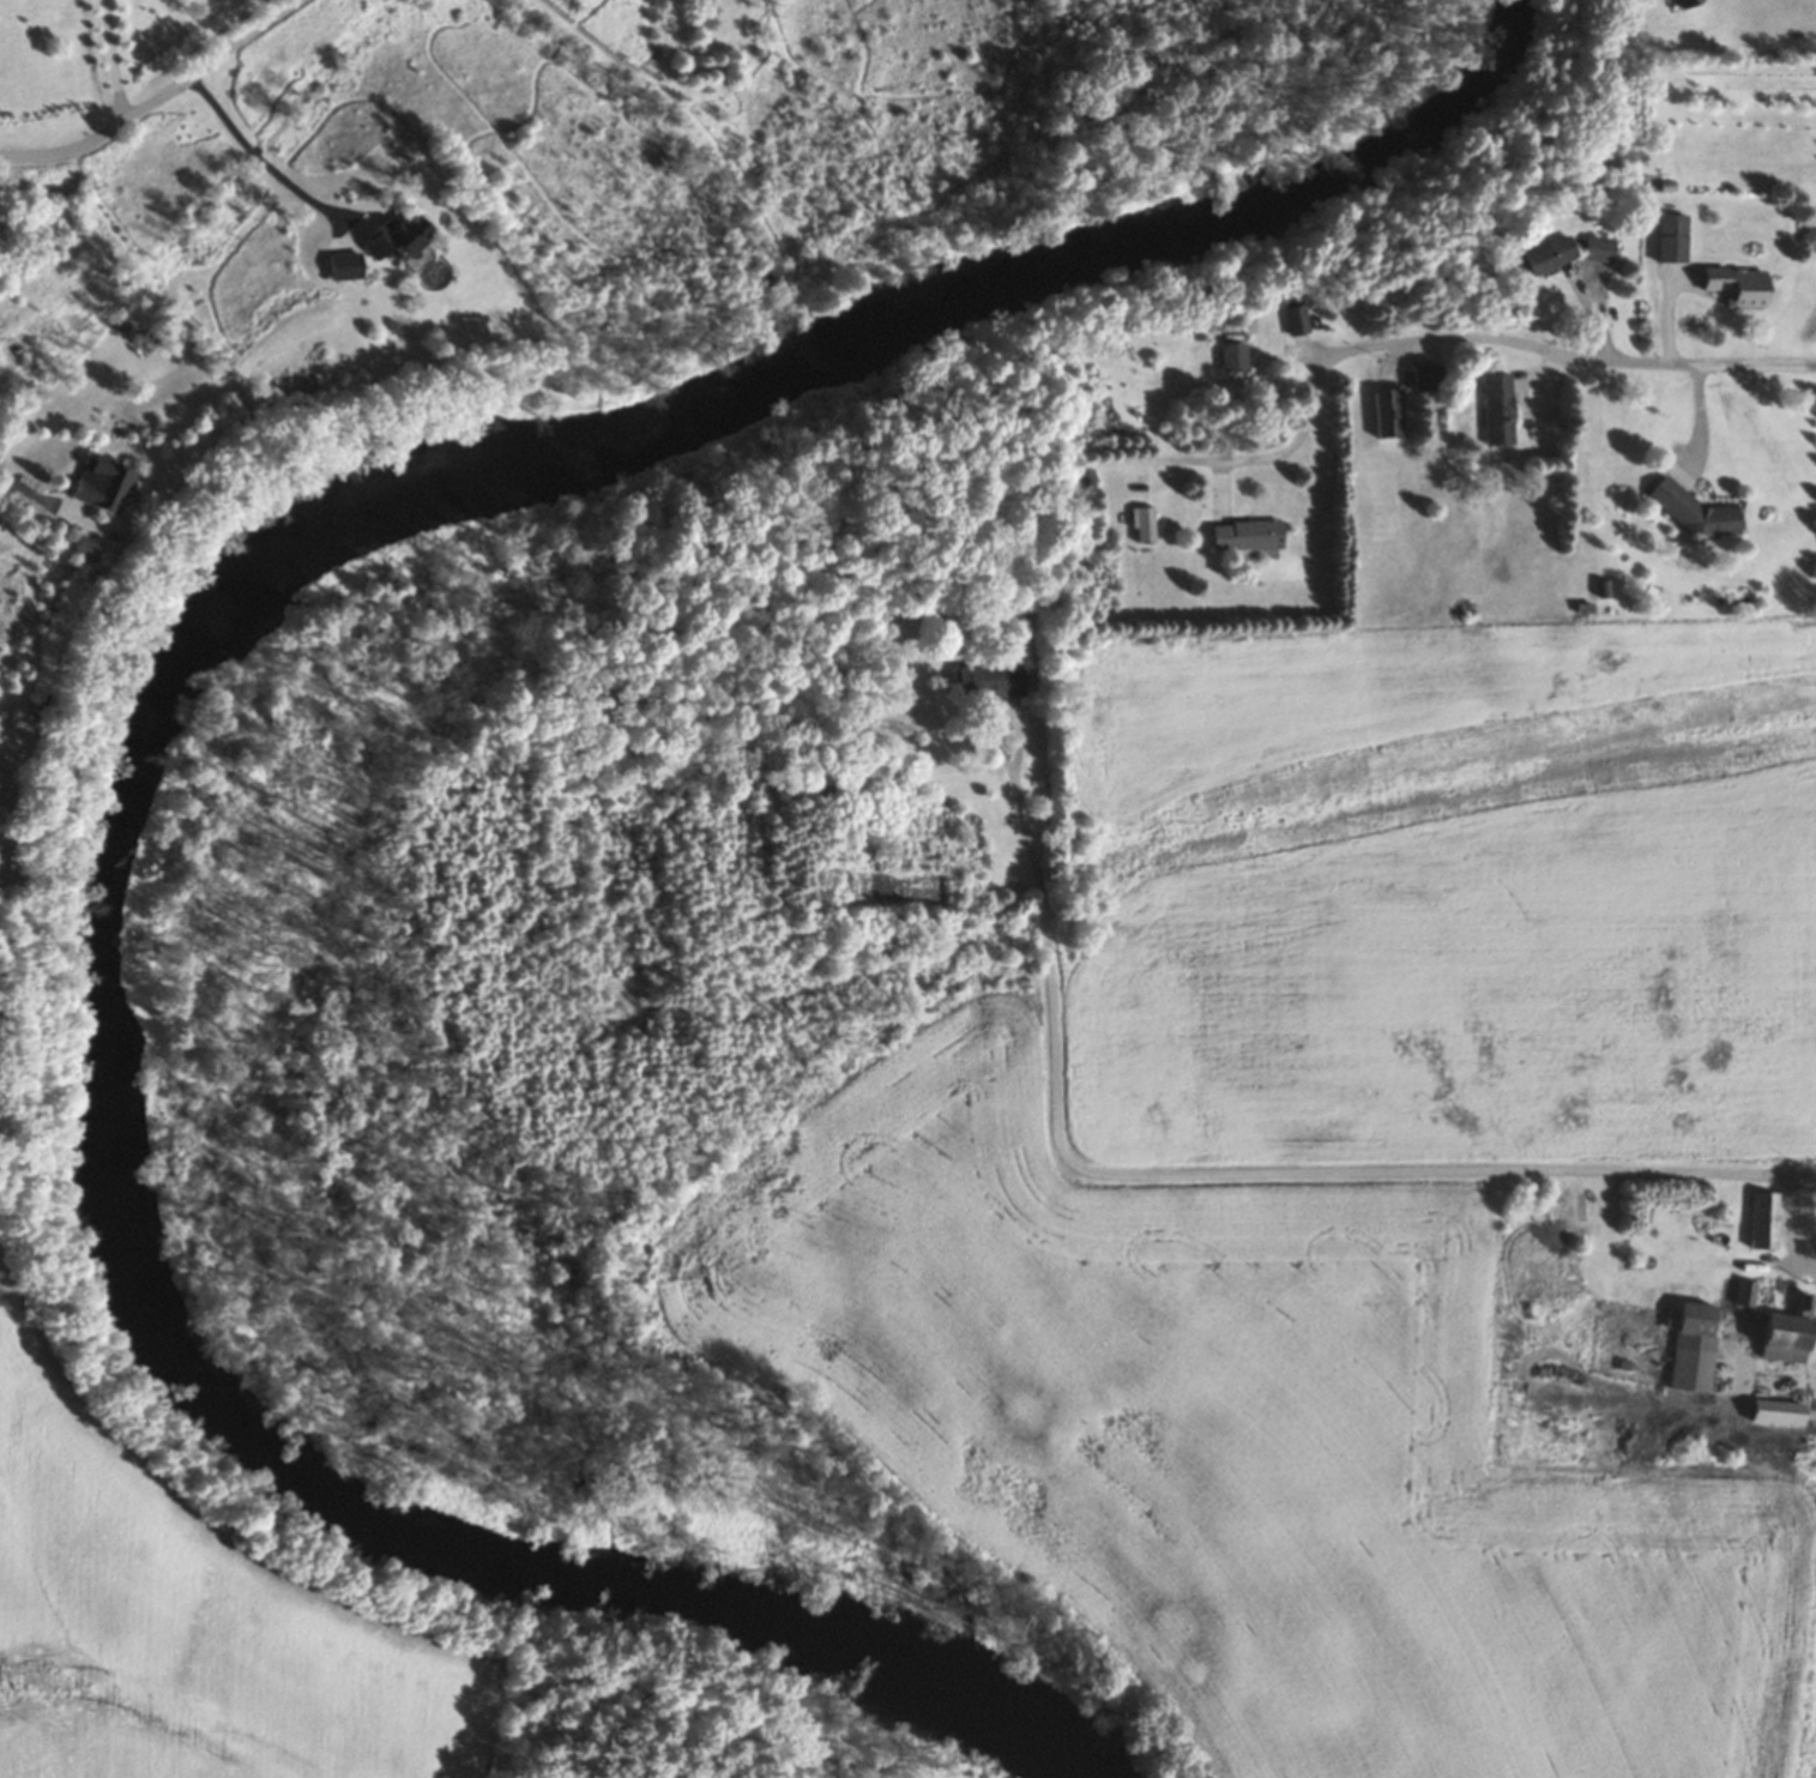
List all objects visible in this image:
building: (1688, 4)
road: (113, 59)
road: (152, 96)
building: (398, 236)
building: (1671, 236)
building: (1599, 248)
building: (1543, 257)
building: (344, 265)
building: (1739, 284)
building: (1295, 318)
road: (1486, 339)
building: (1231, 354)
building: (1425, 375)
building: (1497, 408)
building: (1387, 411)
building: (102, 482)
road: (26, 493)
building: (1695, 510)
building: (1142, 523)
building: (1245, 534)
building: (86, 547)
building: (990, 679)
river: (134, 751)
road: (1793, 1173)
road: (1213, 1174)
building: (1763, 1221)
building: (1734, 1338)
building: (1778, 1411)

